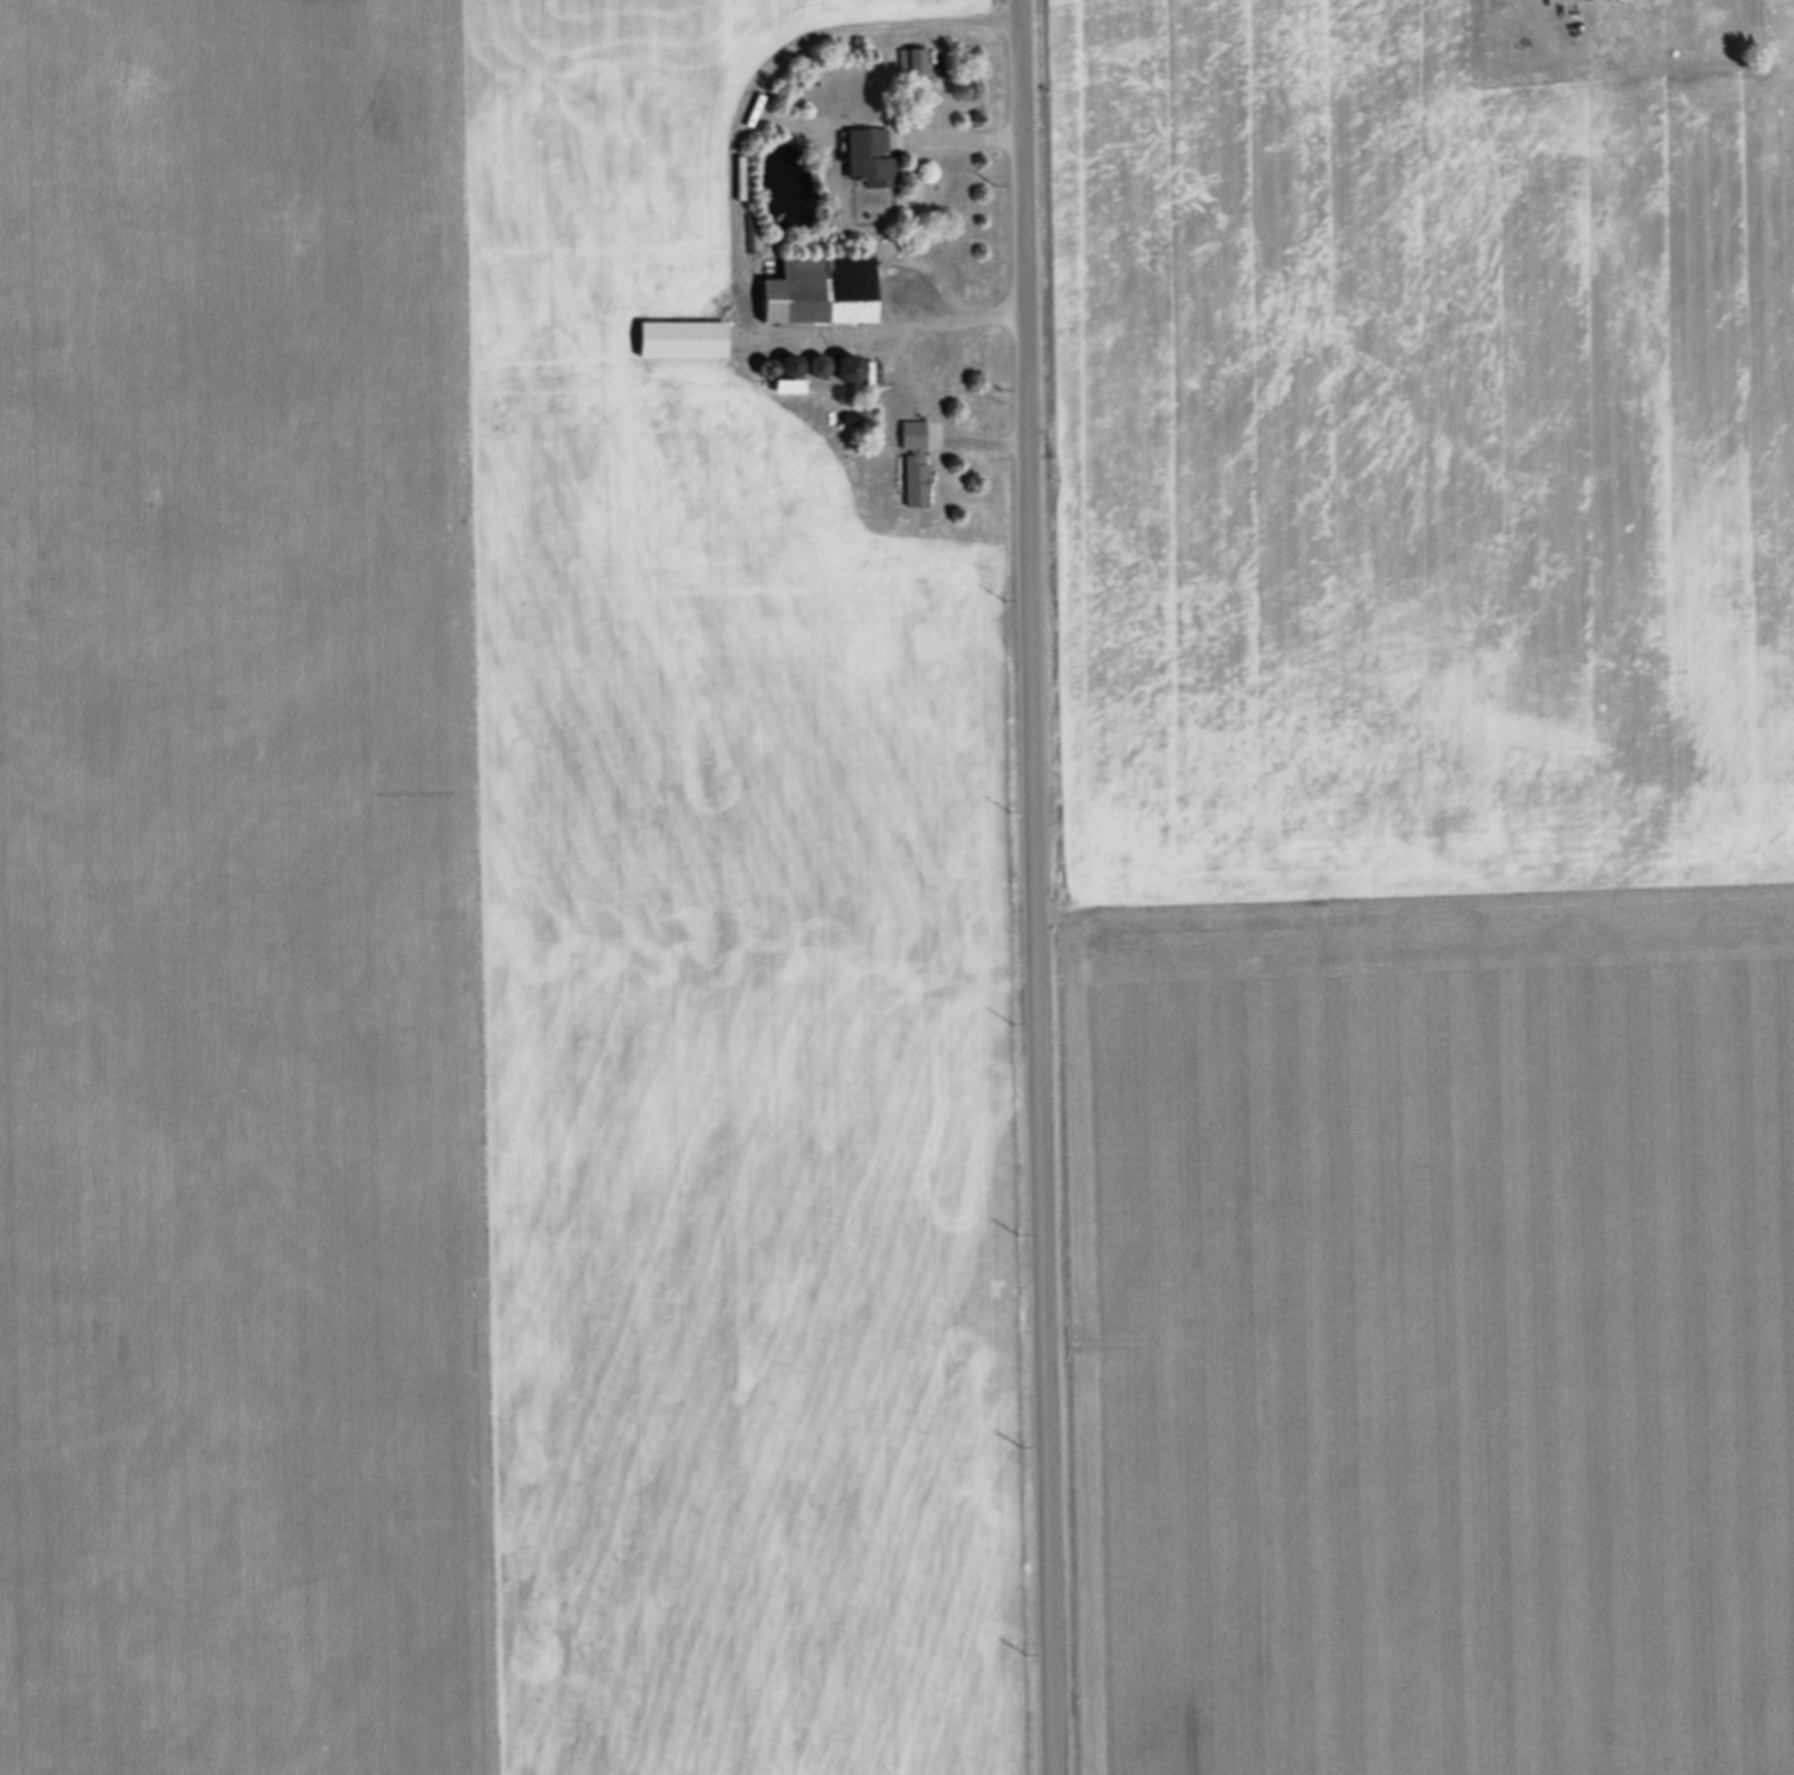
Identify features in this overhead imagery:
building: (911, 61)
building: (870, 157)
building: (821, 289)
building: (695, 335)
building: (791, 364)
building: (818, 364)
building: (849, 365)
building: (788, 384)
building: (915, 462)
road: (1031, 887)

